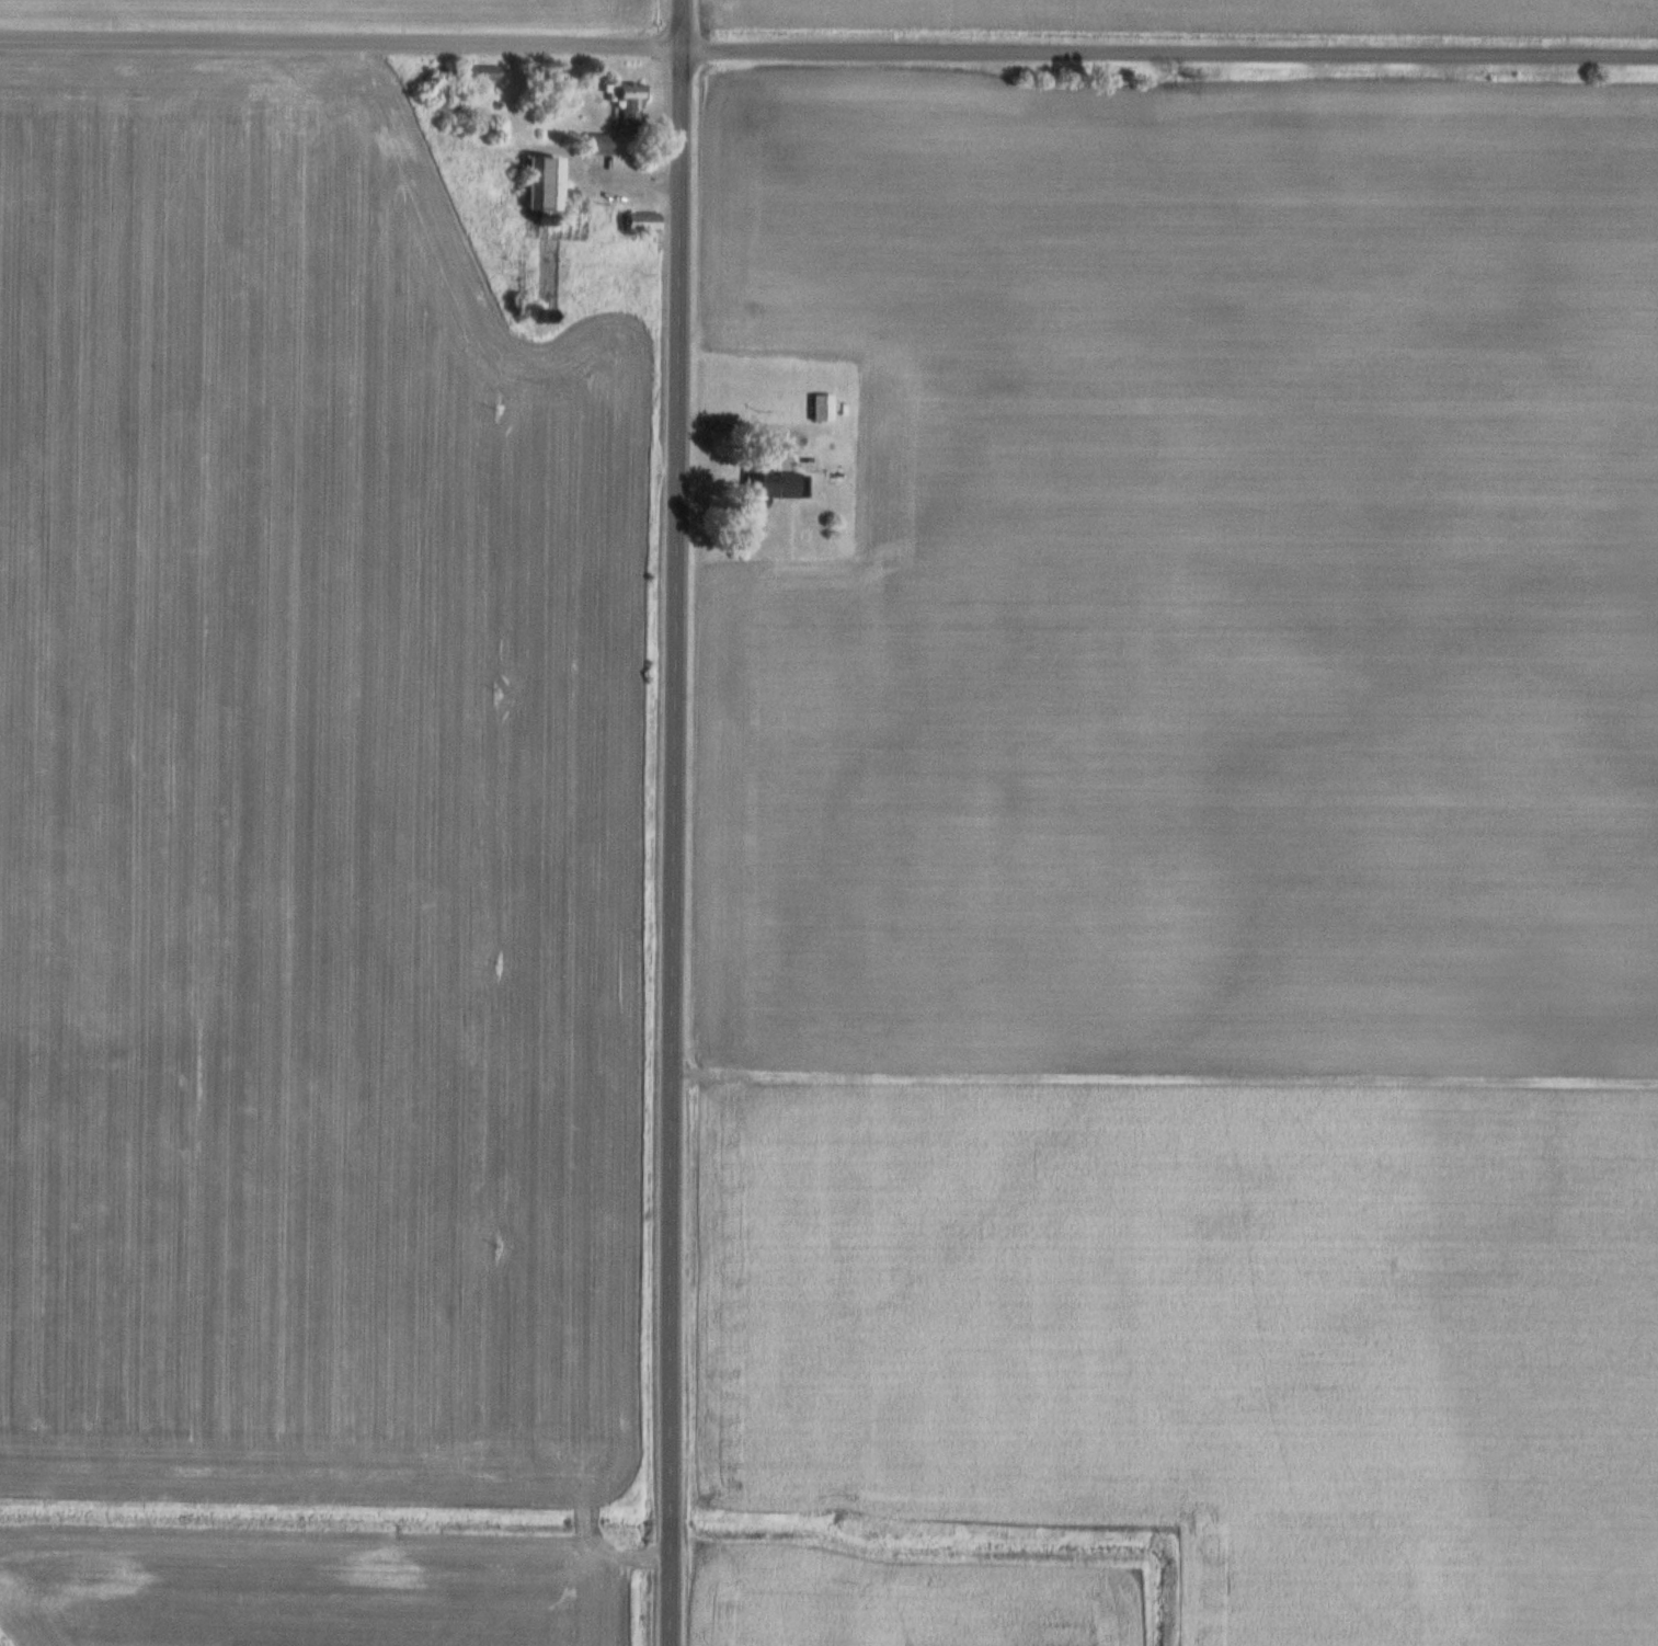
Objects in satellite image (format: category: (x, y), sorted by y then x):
road: (828, 50)
building: (481, 71)
building: (439, 84)
building: (624, 102)
building: (596, 141)
building: (540, 183)
building: (638, 219)
building: (820, 404)
building: (768, 484)
road: (670, 822)

